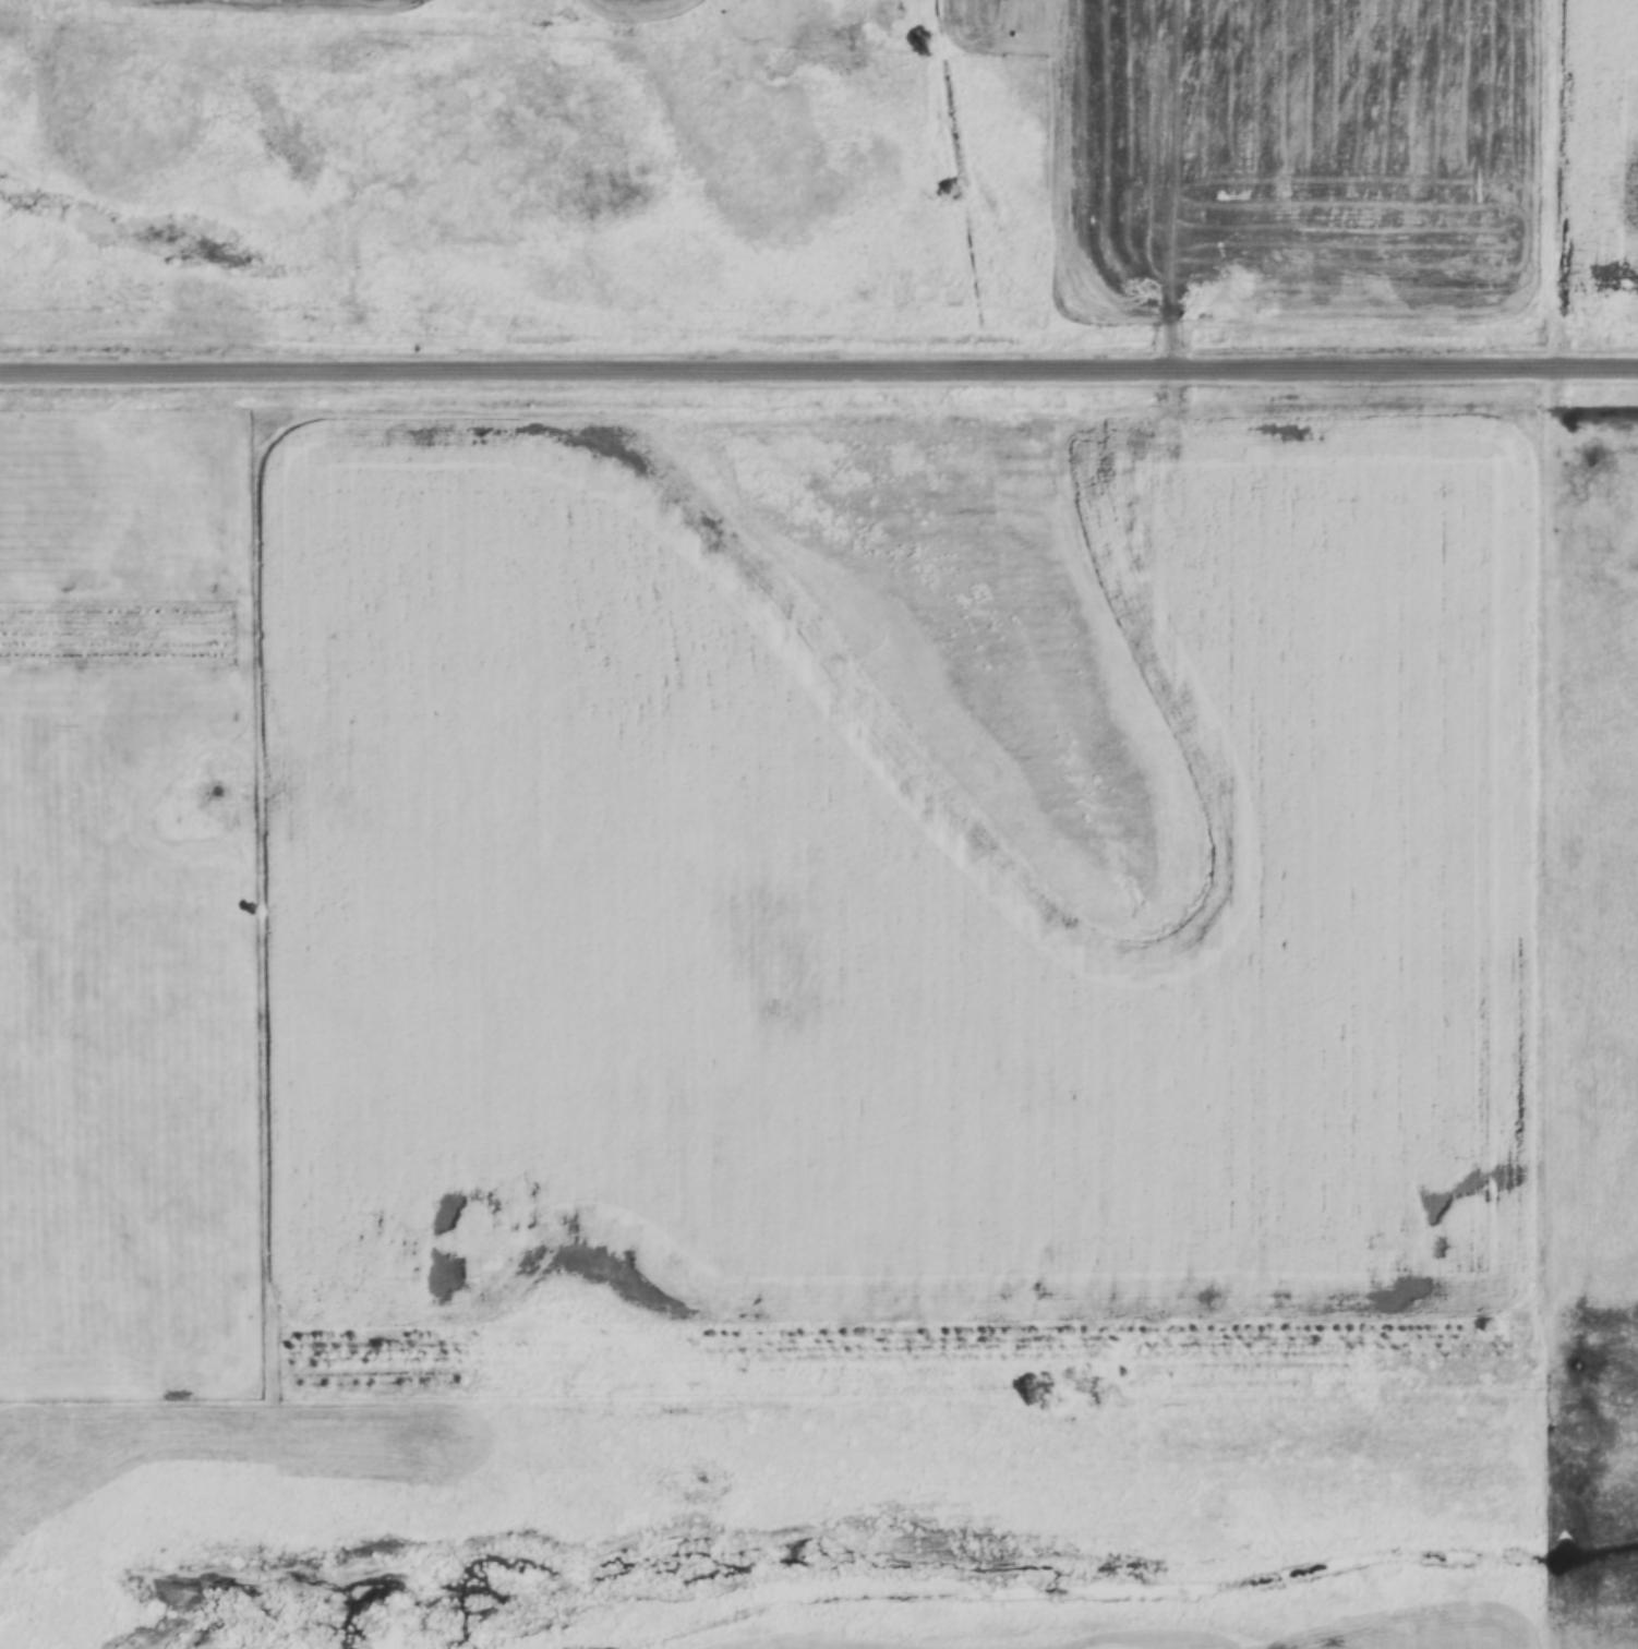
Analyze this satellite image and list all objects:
road: (818, 372)

